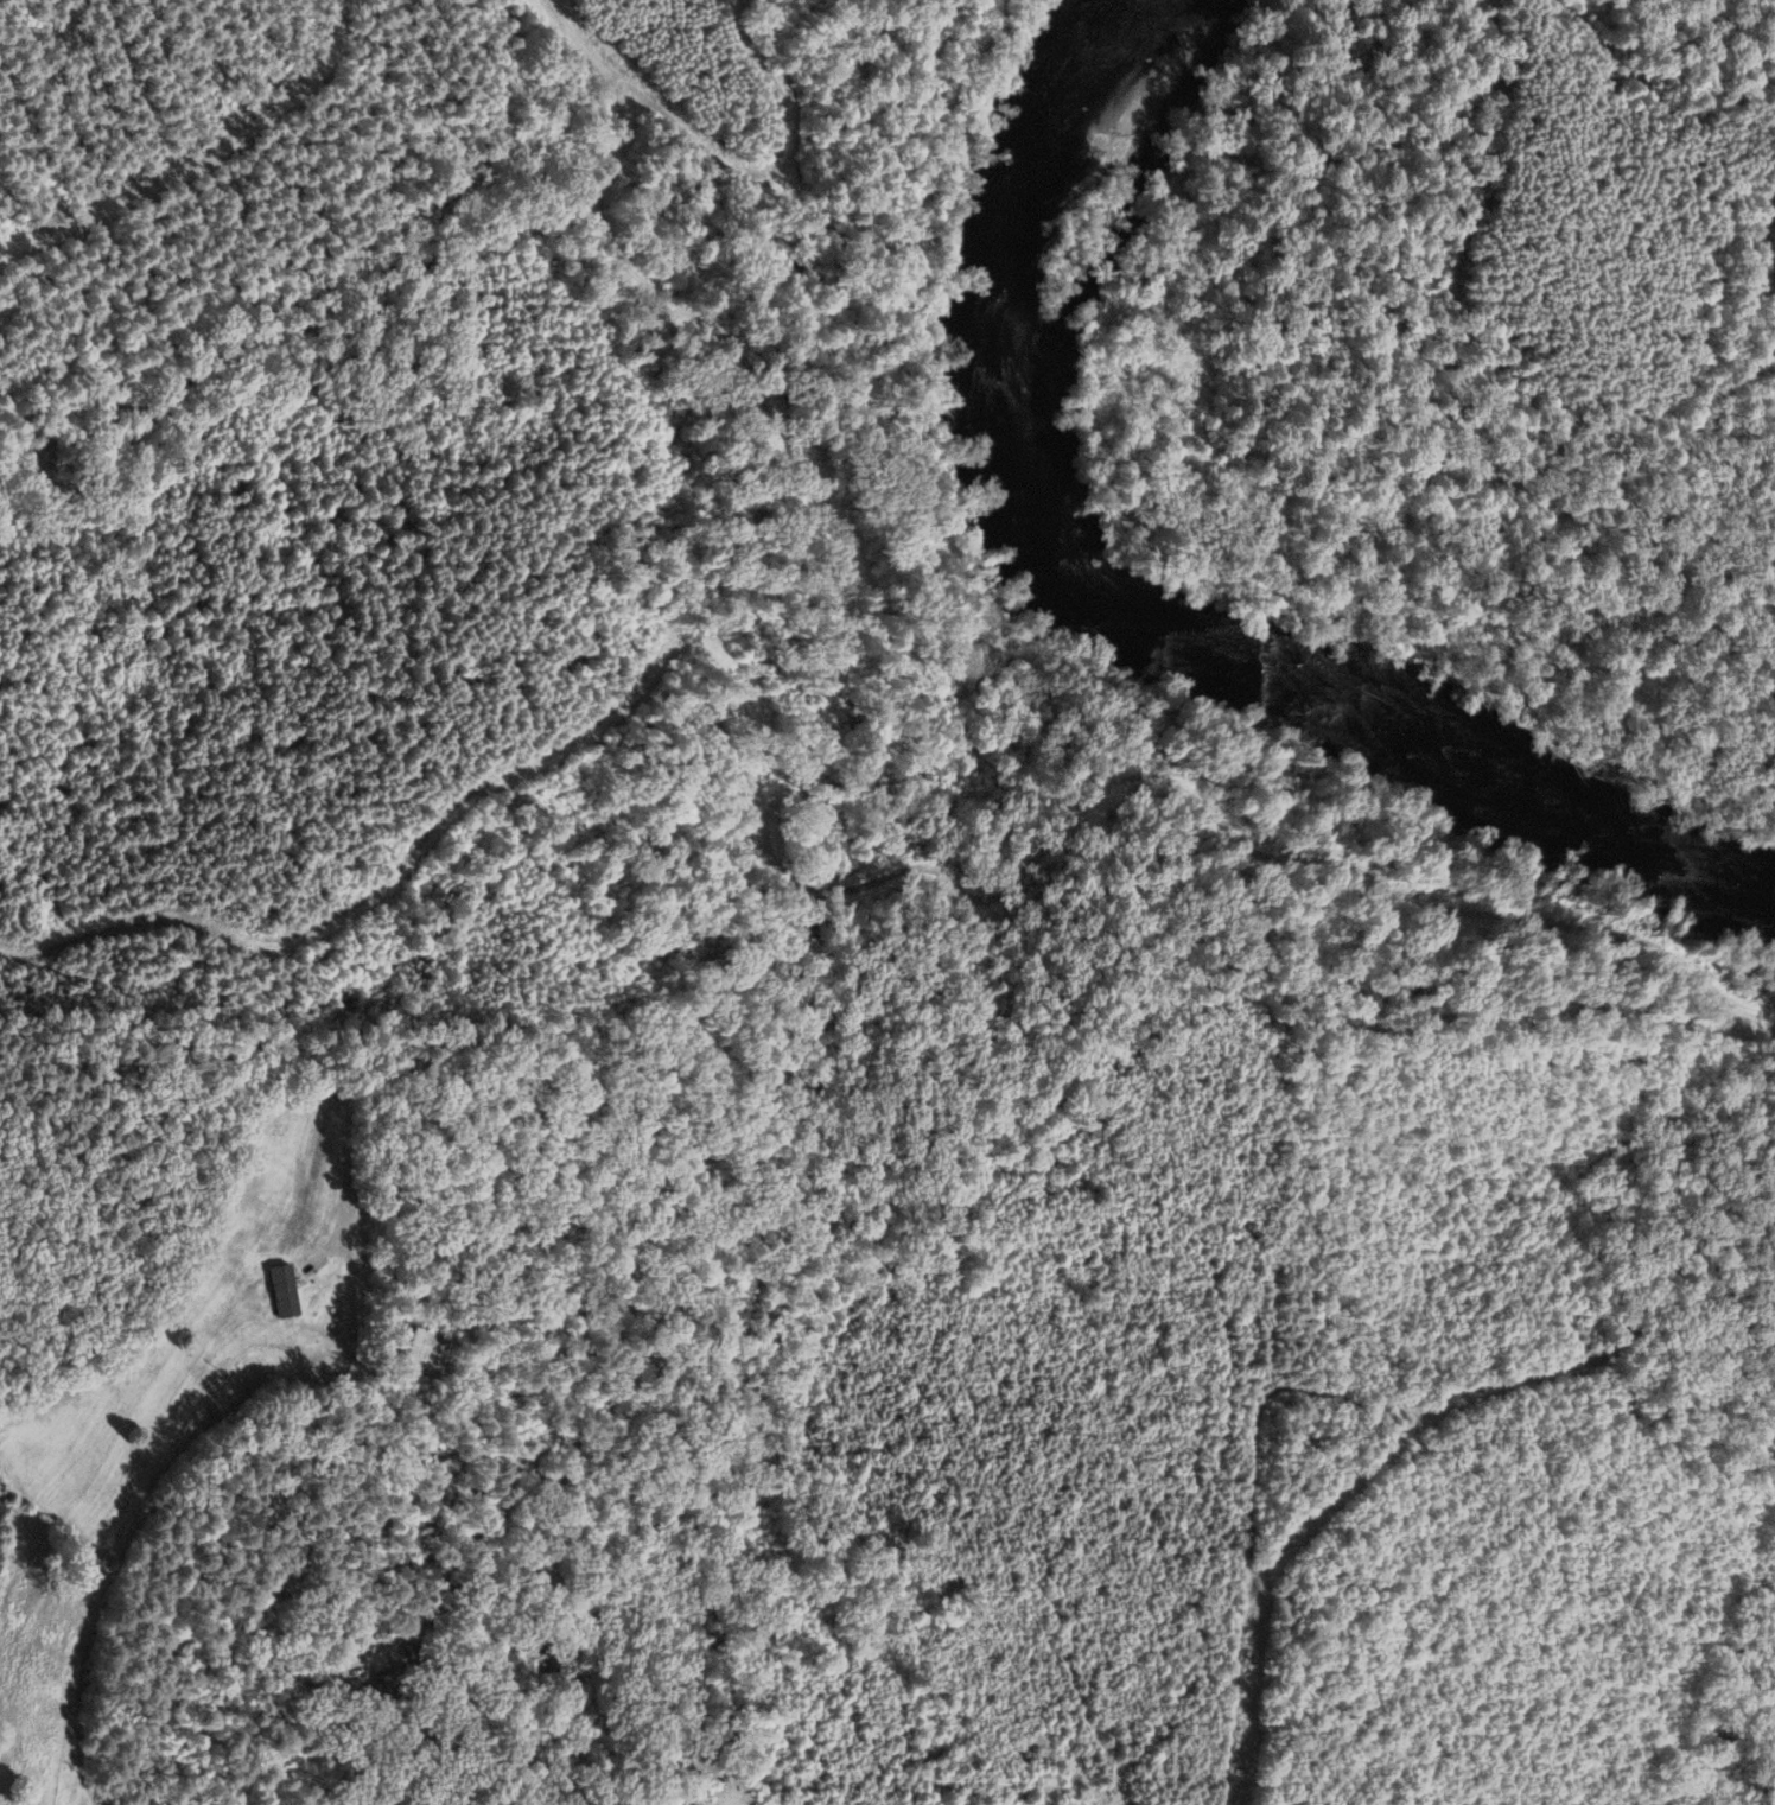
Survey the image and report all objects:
river: (1132, 606)
road: (225, 1191)
building: (274, 1289)
road: (1261, 1396)
building: (444, 1599)
road: (352, 1691)
building: (380, 1697)

